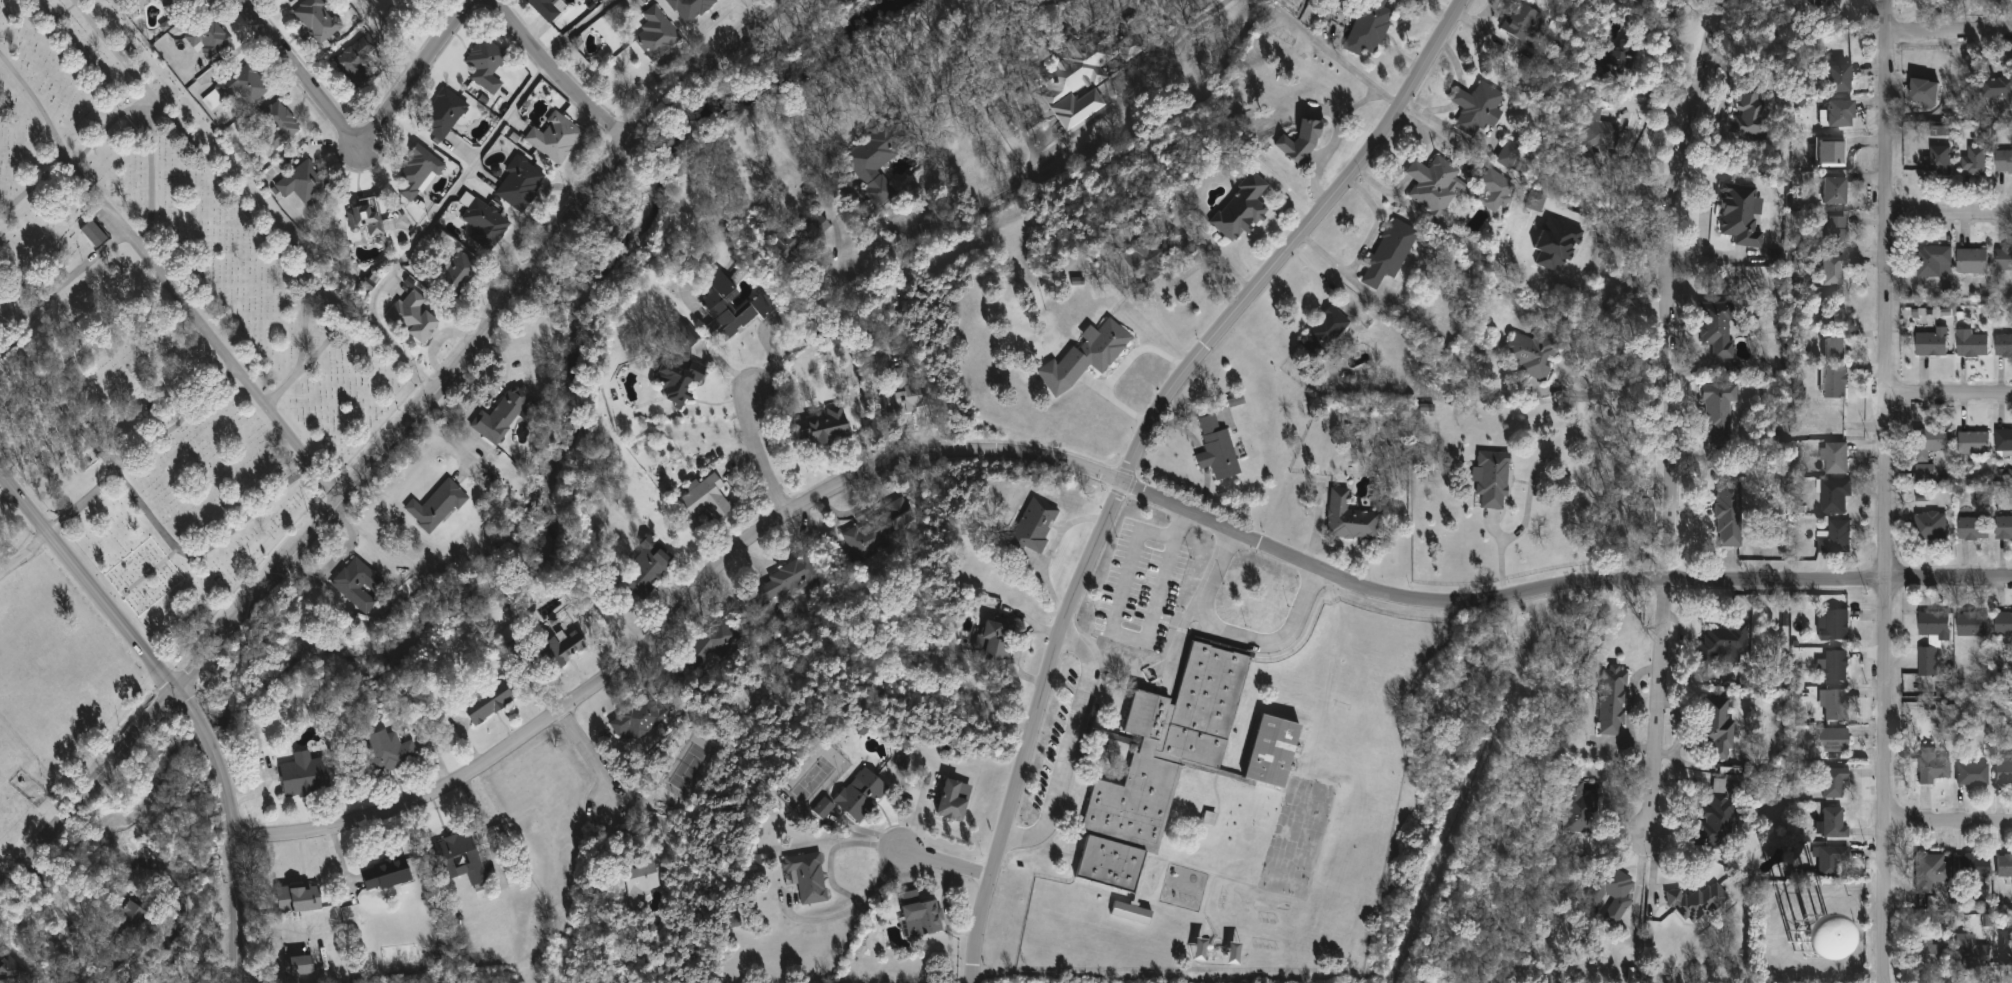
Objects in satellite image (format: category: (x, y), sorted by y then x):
building: (403, 0)
building: (1825, 5)
building: (178, 7)
building: (546, 8)
building: (693, 8)
building: (320, 19)
road: (1120, 22)
building: (1524, 26)
road: (580, 27)
building: (1366, 27)
road: (1181, 30)
building: (659, 32)
road: (1949, 32)
road: (398, 33)
building: (210, 39)
road: (1339, 54)
building: (359, 63)
building: (1610, 63)
building: (488, 65)
road: (561, 70)
road: (296, 73)
road: (421, 74)
building: (1086, 75)
building: (1836, 78)
building: (239, 88)
building: (1996, 90)
building: (1922, 94)
road: (1116, 105)
building: (1476, 109)
building: (1749, 110)
road: (149, 114)
building: (445, 114)
building: (1836, 114)
building: (280, 125)
building: (1596, 136)
building: (557, 138)
building: (1299, 141)
road: (640, 146)
building: (1830, 152)
road: (659, 154)
building: (1509, 154)
building: (879, 160)
building: (1974, 161)
building: (1936, 162)
building: (2003, 163)
road: (809, 169)
building: (419, 172)
building: (304, 182)
building: (521, 184)
road: (34, 185)
building: (1433, 185)
road: (1287, 187)
building: (1491, 190)
building: (1833, 191)
road: (711, 200)
building: (1534, 201)
road: (240, 203)
building: (1243, 210)
road: (1950, 213)
building: (1738, 215)
building: (371, 219)
road: (973, 221)
building: (487, 224)
road: (426, 225)
road: (1623, 231)
building: (1835, 231)
building: (96, 234)
road: (1253, 234)
building: (800, 236)
building: (1556, 243)
building: (1184, 245)
road: (1218, 249)
building: (1388, 253)
building: (1776, 256)
building: (1150, 259)
building: (2004, 259)
building: (1970, 262)
building: (1933, 263)
building: (1832, 270)
building: (457, 276)
road: (169, 278)
road: (66, 280)
road: (1157, 299)
building: (715, 304)
building: (415, 316)
park: (165, 322)
building: (1324, 331)
building: (690, 333)
building: (836, 333)
building: (1715, 334)
road: (479, 343)
building: (1931, 344)
building: (1971, 347)
building: (2003, 347)
building: (1833, 351)
building: (1531, 355)
building: (1088, 358)
building: (679, 382)
building: (1835, 384)
road: (1610, 394)
building: (906, 396)
road: (1949, 398)
building: (1717, 413)
building: (505, 414)
road: (1668, 414)
building: (825, 426)
building: (2003, 441)
building: (1930, 442)
building: (1973, 444)
building: (1219, 449)
road: (1140, 451)
road: (757, 455)
building: (1836, 458)
road: (1536, 465)
road: (1079, 467)
building: (1925, 471)
building: (1491, 479)
road: (1887, 491)
building: (1834, 496)
building: (708, 499)
road: (82, 502)
road: (141, 503)
building: (438, 507)
building: (1729, 514)
building: (1350, 519)
building: (1034, 527)
building: (1929, 527)
building: (2003, 528)
building: (882, 529)
building: (1973, 530)
building: (1834, 538)
road: (342, 546)
road: (24, 551)
building: (651, 565)
building: (789, 581)
building: (360, 585)
building: (2003, 624)
building: (1971, 625)
building: (1834, 626)
building: (1934, 626)
road: (1127, 635)
road: (1236, 637)
building: (997, 639)
road: (1019, 641)
building: (1722, 641)
building: (713, 645)
building: (555, 655)
building: (1927, 662)
building: (1836, 667)
road: (184, 701)
building: (490, 701)
building: (1610, 701)
building: (1836, 705)
building: (640, 718)
building: (1716, 727)
building: (1832, 740)
road: (1071, 746)
building: (394, 751)
building: (1268, 751)
road: (592, 754)
building: (902, 761)
building: (1157, 765)
building: (1932, 767)
building: (2003, 772)
building: (1972, 774)
building: (308, 778)
building: (1833, 784)
road: (88, 786)
building: (862, 794)
building: (955, 802)
building: (1579, 802)
building: (824, 808)
building: (1715, 817)
road: (1948, 823)
building: (1835, 824)
building: (462, 859)
building: (1833, 860)
road: (946, 866)
building: (1973, 866)
building: (2004, 866)
building: (1929, 871)
building: (388, 874)
building: (809, 877)
road: (832, 877)
road: (1642, 878)
building: (642, 880)
building: (1610, 892)
road: (50, 898)
building: (301, 898)
building: (1696, 902)
building: (1130, 913)
building: (923, 915)
building: (128, 921)
building: (1810, 934)
water tower: (1810, 934)
building: (2005, 947)
building: (1970, 954)
building: (1928, 955)
building: (300, 965)
building: (10, 970)

